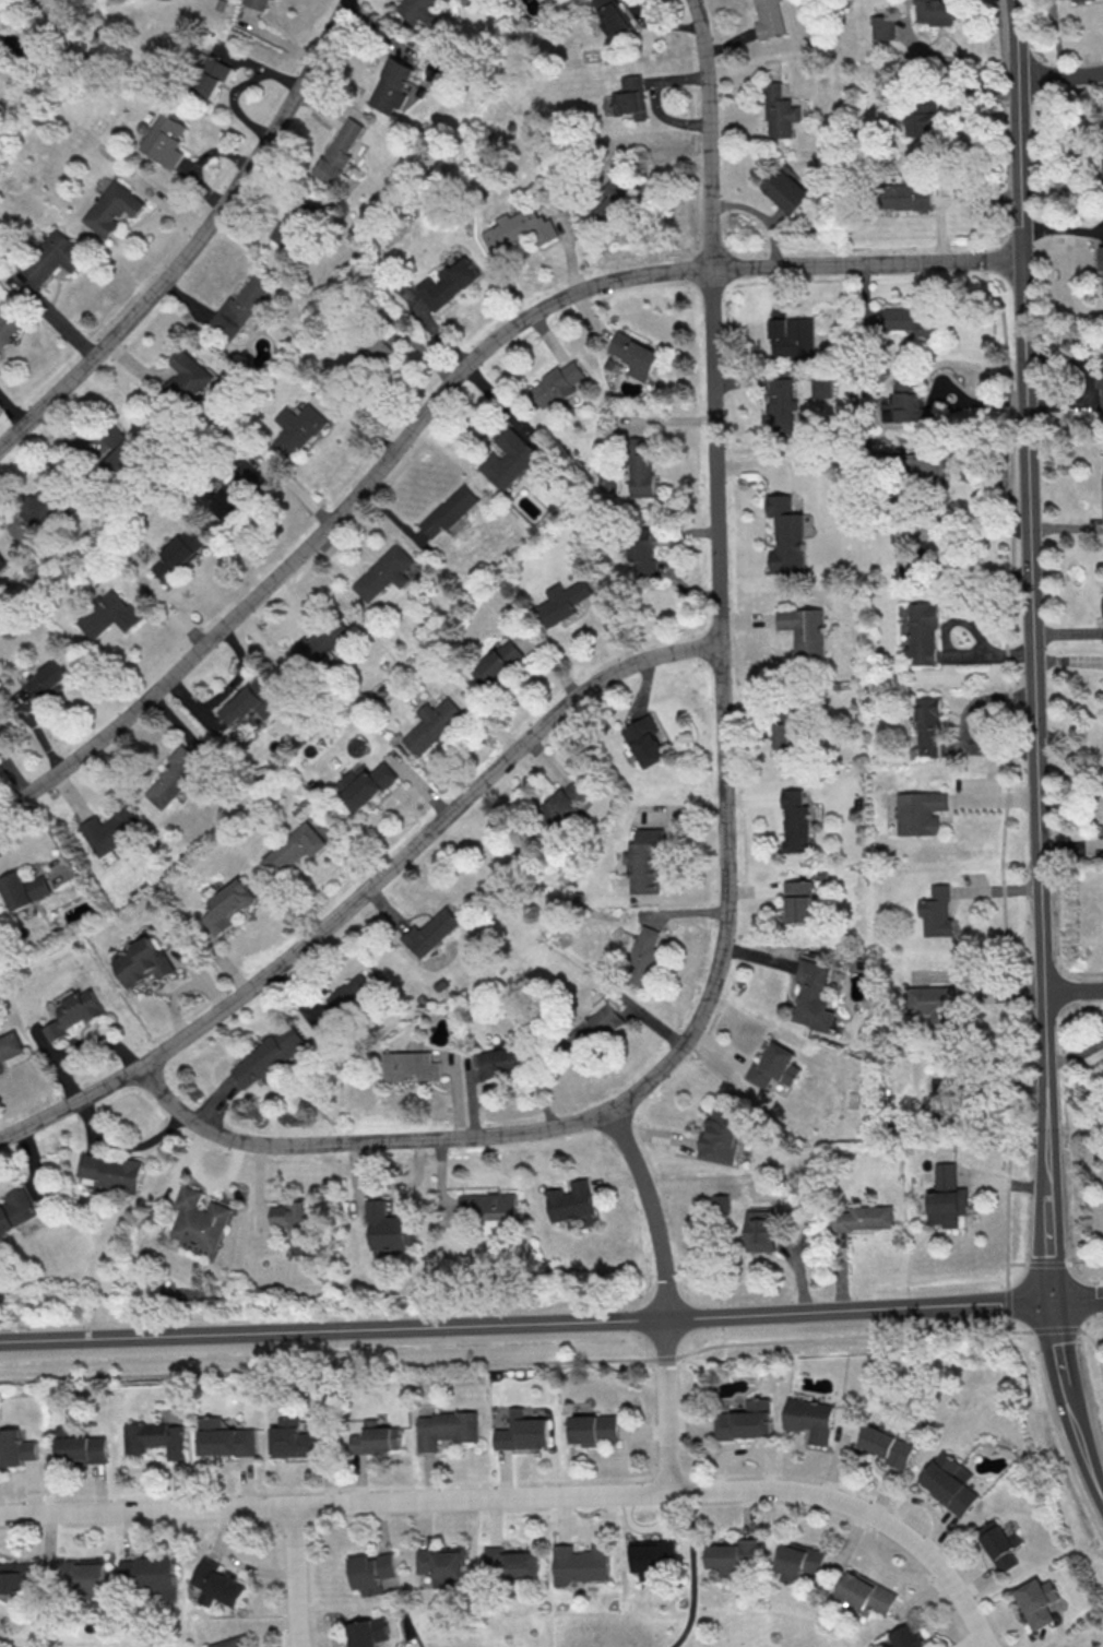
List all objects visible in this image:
building: (450, 0)
building: (1079, 0)
building: (260, 3)
building: (2, 7)
building: (419, 11)
building: (936, 11)
building: (614, 17)
building: (770, 19)
building: (883, 26)
road: (1060, 75)
building: (211, 79)
building: (391, 85)
building: (630, 97)
building: (780, 112)
building: (921, 117)
road: (708, 133)
building: (166, 142)
building: (339, 150)
building: (784, 190)
building: (906, 195)
building: (612, 200)
building: (112, 210)
road: (271, 214)
building: (289, 228)
building: (518, 229)
road: (194, 236)
building: (56, 256)
building: (1102, 270)
building: (448, 282)
building: (239, 307)
building: (912, 319)
building: (8, 327)
building: (792, 336)
building: (369, 355)
building: (634, 356)
building: (1102, 371)
building: (185, 382)
building: (556, 383)
building: (821, 387)
road: (446, 390)
building: (909, 404)
building: (782, 406)
building: (297, 429)
building: (120, 450)
building: (508, 460)
building: (928, 465)
building: (639, 466)
building: (235, 497)
building: (51, 502)
building: (449, 514)
building: (786, 537)
road: (923, 547)
building: (642, 549)
building: (175, 558)
building: (2, 561)
building: (381, 574)
building: (560, 602)
road: (1032, 604)
building: (109, 617)
road: (1006, 629)
building: (804, 630)
building: (924, 632)
building: (321, 643)
building: (498, 665)
building: (48, 680)
building: (249, 704)
building: (927, 725)
building: (432, 728)
building: (784, 735)
building: (644, 740)
building: (176, 778)
building: (369, 787)
building: (564, 808)
building: (920, 814)
building: (796, 822)
building: (112, 829)
building: (294, 850)
building: (644, 860)
building: (23, 889)
road: (365, 892)
building: (798, 900)
building: (225, 909)
building: (938, 911)
building: (430, 935)
building: (642, 956)
road: (721, 958)
building: (142, 962)
road: (1074, 988)
building: (357, 994)
building: (813, 996)
building: (934, 1011)
building: (74, 1012)
building: (593, 1033)
building: (11, 1046)
road: (1075, 1054)
building: (268, 1058)
building: (509, 1063)
building: (411, 1066)
building: (774, 1066)
building: (944, 1105)
building: (721, 1135)
building: (112, 1171)
building: (947, 1197)
building: (571, 1200)
building: (721, 1205)
building: (487, 1206)
building: (16, 1209)
building: (290, 1214)
building: (199, 1219)
building: (862, 1220)
building: (387, 1227)
building: (761, 1230)
road: (656, 1231)
road: (1051, 1255)
road: (1018, 1263)
road: (1046, 1263)
road: (1071, 1264)
road: (1078, 1301)
road: (1007, 1302)
road: (526, 1323)
road: (1015, 1330)
road: (1056, 1330)
road: (1058, 1347)
road: (1096, 1347)
road: (505, 1362)
building: (810, 1421)
building: (745, 1423)
road: (667, 1425)
building: (446, 1430)
building: (593, 1431)
building: (521, 1433)
building: (153, 1439)
building: (222, 1439)
building: (290, 1441)
building: (375, 1441)
building: (888, 1446)
building: (10, 1447)
building: (78, 1447)
road: (1082, 1447)
building: (949, 1485)
road: (527, 1495)
building: (999, 1544)
building: (735, 1557)
building: (651, 1559)
building: (799, 1560)
building: (509, 1565)
building: (579, 1565)
building: (440, 1566)
road: (693, 1571)
road: (885, 1572)
building: (371, 1574)
building: (152, 1575)
road: (295, 1576)
building: (82, 1577)
building: (16, 1579)
building: (215, 1584)
building: (866, 1596)
building: (1036, 1603)
park: (641, 1619)
building: (367, 1632)
park: (94, 1636)
building: (908, 1636)
building: (228, 1643)

